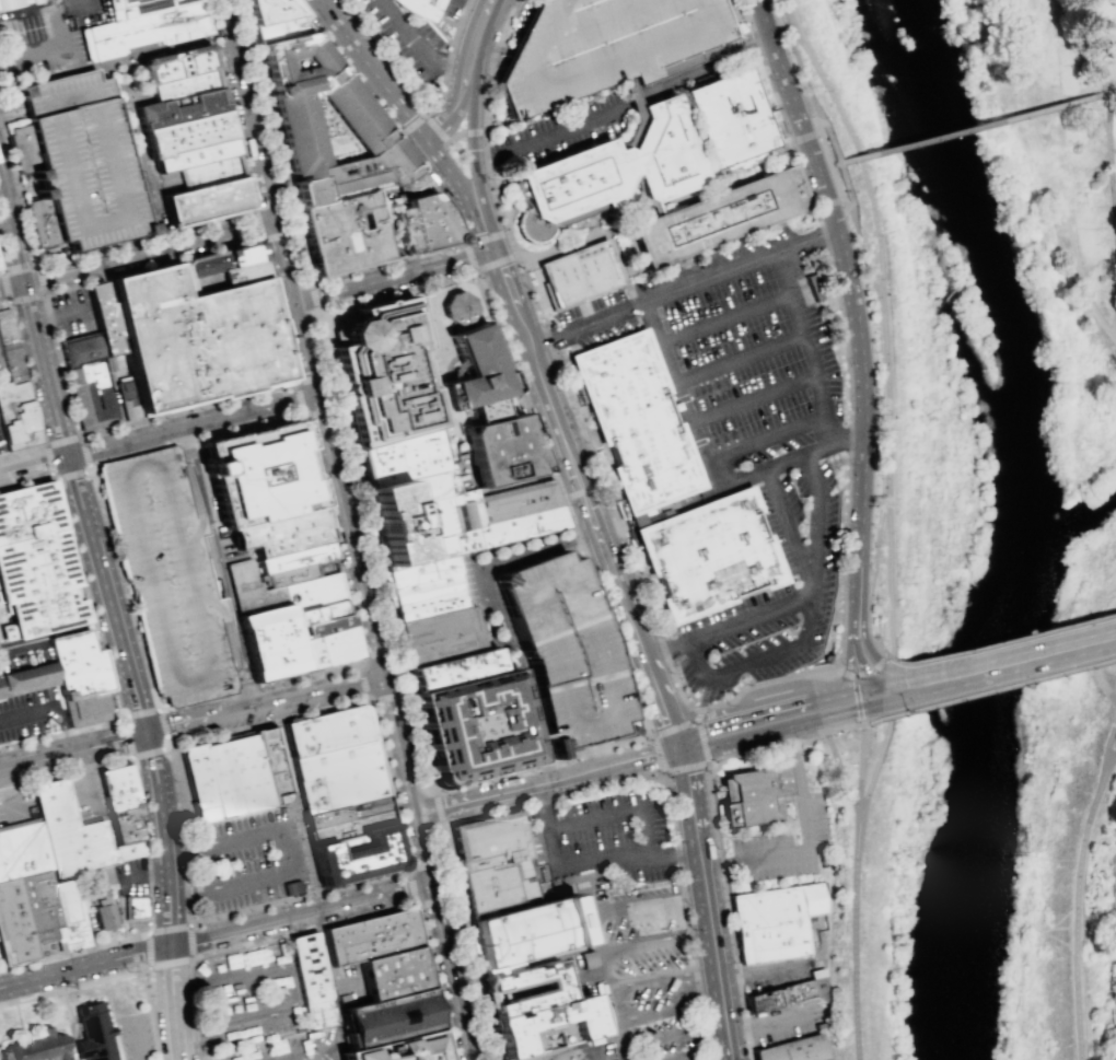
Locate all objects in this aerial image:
building: (10, 2)
road: (478, 4)
road: (33, 8)
building: (143, 8)
building: (418, 8)
parking lot: (447, 9)
building: (267, 10)
parking lot: (84, 12)
road: (784, 14)
road: (212, 19)
building: (277, 28)
building: (148, 32)
road: (479, 37)
road: (755, 38)
road: (499, 39)
parking lot: (399, 40)
parking lot: (372, 44)
road: (1095, 45)
parking lot: (38, 46)
road: (418, 48)
road: (489, 48)
building: (603, 48)
parking garage: (603, 48)
road: (55, 51)
road: (116, 61)
road: (810, 61)
building: (182, 67)
road: (373, 70)
road: (802, 79)
road: (1111, 90)
building: (185, 101)
road: (625, 103)
road: (1038, 108)
road: (422, 109)
toll booth: (21, 110)
road: (252, 110)
road: (12, 112)
road: (454, 112)
road: (632, 114)
road: (427, 118)
road: (842, 118)
building: (726, 119)
road: (13, 124)
building: (363, 126)
parking lot: (562, 130)
building: (190, 135)
road: (455, 135)
road: (477, 135)
road: (496, 136)
road: (805, 137)
road: (819, 138)
road: (832, 143)
road: (905, 144)
building: (200, 156)
park: (1049, 158)
road: (860, 159)
building: (75, 163)
parking garage: (75, 163)
road: (143, 164)
road: (477, 165)
road: (491, 166)
building: (607, 172)
building: (213, 175)
road: (844, 182)
road: (1054, 183)
parking lot: (170, 185)
road: (1109, 194)
road: (465, 195)
road: (839, 196)
road: (776, 197)
road: (828, 202)
building: (210, 205)
road: (652, 208)
road: (658, 209)
building: (714, 216)
road: (258, 224)
building: (426, 224)
road: (1070, 225)
road: (5, 229)
road: (609, 229)
road: (625, 230)
building: (341, 233)
road: (12, 234)
road: (156, 235)
fountain: (400, 235)
road: (877, 237)
toll booth: (124, 242)
road: (133, 246)
road: (125, 247)
road: (152, 252)
traffic signals: (493, 253)
road: (861, 253)
building: (240, 255)
road: (1115, 255)
road: (469, 260)
road: (288, 263)
road: (1, 265)
road: (393, 265)
road: (619, 267)
building: (0, 268)
road: (1082, 268)
building: (199, 273)
building: (578, 273)
building: (239, 275)
road: (395, 278)
road: (12, 286)
building: (812, 287)
road: (681, 288)
road: (383, 296)
road: (313, 298)
road: (510, 299)
road: (10, 301)
road: (851, 303)
building: (456, 306)
road: (1094, 306)
road: (323, 308)
parking lot: (68, 313)
road: (57, 316)
road: (725, 317)
building: (102, 319)
building: (7, 328)
road: (1108, 333)
building: (195, 340)
road: (441, 340)
road: (810, 348)
building: (78, 350)
road: (310, 350)
road: (741, 358)
building: (13, 364)
parking lot: (2, 370)
building: (470, 370)
road: (48, 371)
building: (381, 371)
road: (298, 384)
park: (475, 386)
road: (32, 389)
road: (385, 394)
building: (98, 396)
road: (755, 398)
road: (299, 400)
road: (885, 403)
building: (480, 411)
road: (299, 415)
road: (444, 415)
building: (18, 418)
road: (556, 419)
building: (635, 420)
parking lot: (0, 423)
road: (160, 436)
parking lot: (746, 436)
road: (766, 438)
road: (158, 443)
parking lot: (1, 446)
parking lot: (1, 446)
road: (45, 446)
building: (500, 450)
road: (113, 455)
road: (707, 464)
building: (260, 473)
road: (193, 480)
road: (581, 493)
building: (418, 502)
building: (520, 508)
building: (659, 511)
road: (821, 513)
river: (1021, 523)
building: (281, 532)
road: (352, 536)
road: (195, 545)
road: (466, 550)
road: (873, 552)
building: (708, 557)
road: (609, 560)
building: (288, 563)
building: (35, 564)
road: (218, 569)
road: (598, 570)
building: (170, 576)
parking garage: (170, 576)
road: (601, 579)
road: (890, 580)
toll booth: (588, 583)
road: (149, 586)
building: (249, 589)
building: (423, 591)
building: (311, 592)
park: (964, 594)
road: (108, 596)
road: (208, 599)
road: (467, 603)
road: (794, 605)
building: (315, 613)
road: (490, 613)
road: (841, 616)
building: (318, 626)
road: (98, 630)
road: (868, 630)
building: (438, 637)
road: (998, 642)
building: (267, 643)
building: (333, 645)
road: (865, 647)
building: (566, 651)
parking garage: (566, 651)
building: (303, 653)
road: (375, 654)
parking lot: (24, 655)
road: (823, 656)
road: (856, 656)
road: (883, 656)
road: (758, 657)
road: (232, 661)
road: (880, 661)
road: (1007, 661)
road: (846, 671)
road: (865, 671)
building: (451, 672)
road: (842, 672)
road: (849, 674)
building: (68, 679)
road: (890, 679)
road: (890, 685)
road: (656, 688)
road: (890, 688)
traffic signals: (898, 688)
road: (997, 688)
road: (894, 689)
road: (890, 695)
road: (856, 698)
road: (368, 699)
road: (803, 704)
road: (266, 706)
road: (869, 706)
road: (219, 707)
road: (49, 708)
road: (190, 713)
parking lot: (30, 715)
road: (696, 717)
road: (699, 717)
building: (326, 730)
building: (475, 730)
road: (673, 730)
road: (701, 730)
road: (769, 730)
road: (539, 741)
road: (702, 743)
road: (399, 745)
road: (1112, 746)
traffic signals: (682, 748)
road: (72, 752)
road: (602, 752)
road: (1112, 754)
road: (591, 755)
road: (659, 755)
road: (131, 757)
road: (643, 758)
road: (562, 760)
road: (837, 767)
road: (687, 768)
road: (874, 768)
building: (256, 769)
road: (284, 769)
road: (858, 769)
building: (337, 776)
building: (216, 780)
building: (195, 784)
road: (511, 791)
road: (9, 792)
building: (752, 795)
road: (690, 797)
road: (671, 802)
road: (438, 806)
parking lot: (15, 809)
building: (346, 811)
building: (118, 812)
road: (616, 814)
road: (713, 824)
building: (65, 834)
building: (487, 835)
parking lot: (615, 836)
parking lot: (783, 837)
road: (165, 838)
road: (805, 840)
road: (303, 848)
road: (423, 848)
building: (351, 849)
road: (148, 854)
road: (286, 855)
parking lot: (237, 863)
road: (584, 864)
road: (147, 876)
parking lot: (132, 878)
building: (503, 878)
road: (411, 885)
building: (291, 887)
building: (34, 901)
road: (649, 906)
building: (135, 907)
road: (1074, 907)
road: (301, 915)
building: (103, 916)
road: (439, 916)
road: (596, 921)
building: (772, 922)
road: (198, 923)
road: (329, 923)
building: (521, 935)
building: (367, 936)
road: (851, 937)
road: (655, 940)
road: (463, 944)
road: (253, 950)
road: (713, 954)
road: (187, 958)
road: (84, 966)
parking lot: (0, 967)
road: (146, 968)
road: (606, 969)
building: (392, 972)
parking lot: (649, 972)
road: (762, 972)
parking lot: (772, 974)
road: (115, 975)
building: (311, 980)
parking lot: (344, 983)
road: (633, 985)
road: (328, 987)
building: (525, 987)
road: (292, 988)
building: (788, 992)
road: (172, 1002)
road: (460, 1004)
parking lot: (255, 1009)
road: (669, 1010)
road: (113, 1018)
building: (385, 1018)
parking lot: (784, 1021)
road: (70, 1023)
road: (19, 1024)
road: (767, 1025)
building: (545, 1026)
building: (94, 1033)
parking lot: (136, 1036)
road: (666, 1036)
road: (268, 1039)
road: (138, 1041)
building: (38, 1046)
building: (400, 1049)
building: (793, 1049)
road: (621, 1052)
road: (300, 1053)
building: (551, 1053)
road: (683, 1057)

